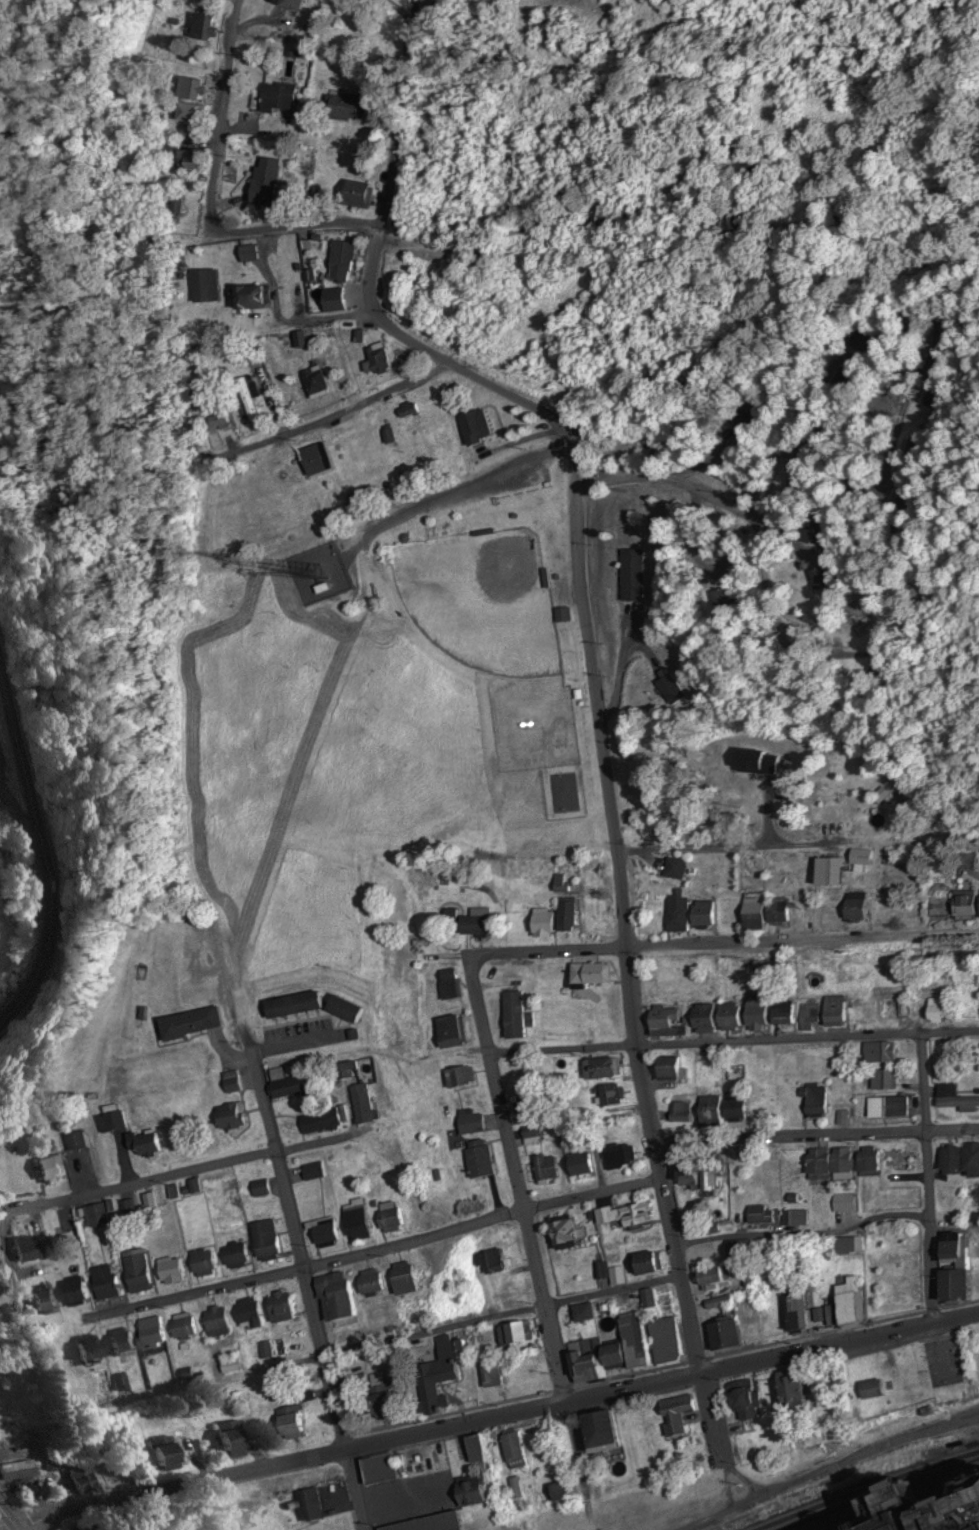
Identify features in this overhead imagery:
building: (288, 4)
road: (409, 15)
building: (202, 28)
building: (189, 89)
building: (276, 98)
building: (342, 107)
building: (189, 113)
building: (193, 159)
building: (270, 181)
building: (356, 194)
road: (543, 194)
road: (221, 195)
building: (605, 216)
road: (382, 217)
building: (251, 253)
building: (340, 256)
building: (257, 297)
building: (330, 300)
building: (299, 340)
building: (375, 357)
building: (314, 383)
road: (366, 399)
building: (252, 411)
building: (222, 422)
building: (473, 426)
building: (313, 459)
road: (704, 492)
building: (814, 534)
building: (631, 575)
building: (821, 578)
building: (562, 616)
park: (328, 735)
road: (40, 852)
building: (674, 868)
building: (827, 872)
building: (558, 883)
road: (619, 897)
building: (965, 905)
building: (851, 907)
building: (825, 910)
building: (565, 913)
building: (690, 914)
building: (765, 914)
building: (537, 921)
building: (470, 925)
road: (723, 943)
building: (588, 975)
building: (449, 984)
building: (311, 1007)
building: (937, 1009)
building: (833, 1011)
building: (779, 1012)
building: (512, 1015)
building: (705, 1019)
building: (189, 1024)
building: (450, 1031)
road: (731, 1040)
building: (877, 1052)
building: (599, 1069)
building: (666, 1069)
building: (345, 1070)
building: (275, 1074)
building: (458, 1077)
building: (881, 1080)
building: (231, 1081)
building: (279, 1092)
building: (608, 1095)
building: (953, 1098)
building: (814, 1101)
building: (360, 1104)
building: (885, 1107)
building: (719, 1110)
building: (680, 1112)
building: (229, 1116)
building: (118, 1121)
building: (317, 1122)
building: (470, 1123)
building: (531, 1136)
road: (815, 1137)
building: (80, 1141)
building: (159, 1143)
building: (616, 1156)
building: (478, 1159)
building: (865, 1160)
building: (957, 1160)
building: (813, 1162)
building: (838, 1162)
building: (578, 1163)
building: (546, 1168)
building: (55, 1170)
building: (311, 1171)
building: (705, 1178)
road: (927, 1178)
road: (146, 1181)
building: (259, 1188)
building: (171, 1192)
building: (148, 1201)
building: (842, 1203)
building: (758, 1214)
building: (620, 1215)
building: (793, 1217)
building: (353, 1218)
building: (388, 1218)
road: (527, 1224)
building: (322, 1231)
building: (559, 1233)
road: (802, 1233)
building: (263, 1240)
building: (848, 1246)
building: (36, 1248)
road: (372, 1250)
building: (234, 1256)
building: (200, 1261)
building: (488, 1262)
building: (644, 1263)
building: (952, 1270)
building: (169, 1271)
building: (608, 1273)
building: (135, 1274)
building: (711, 1276)
building: (401, 1279)
building: (368, 1282)
building: (102, 1283)
building: (69, 1292)
road: (309, 1295)
building: (331, 1295)
building: (647, 1298)
building: (35, 1302)
building: (844, 1304)
building: (279, 1307)
building: (582, 1312)
building: (794, 1314)
building: (246, 1315)
road: (500, 1319)
building: (215, 1321)
building: (148, 1333)
building: (513, 1333)
building: (722, 1335)
building: (663, 1340)
building: (115, 1342)
building: (82, 1348)
building: (271, 1350)
building: (608, 1353)
building: (229, 1366)
building: (438, 1374)
building: (494, 1375)
road: (662, 1382)
building: (117, 1383)
building: (788, 1389)
building: (869, 1391)
building: (741, 1397)
building: (378, 1398)
building: (675, 1415)
building: (287, 1422)
building: (595, 1433)
building: (223, 1441)
building: (513, 1447)
building: (741, 1448)
building: (471, 1450)
building: (158, 1453)
building: (376, 1470)
building: (16, 1472)
road: (183, 1485)
railway: (873, 1489)
building: (307, 1505)
power plant: (923, 1508)
building: (932, 1509)
road: (10, 1517)
building: (430, 1523)

